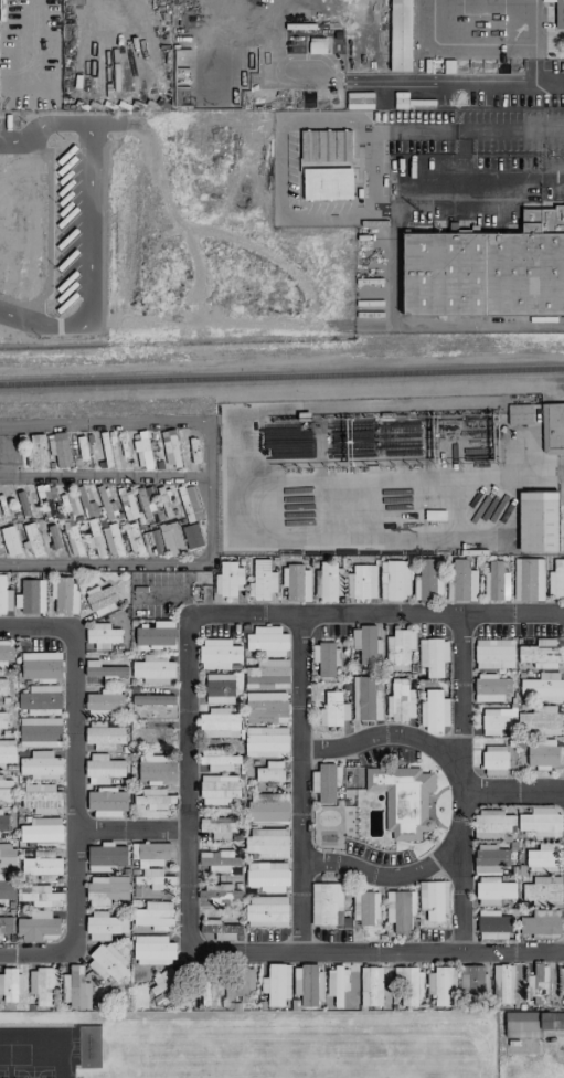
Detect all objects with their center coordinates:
building: (75, 1)
building: (558, 14)
building: (400, 35)
road: (536, 40)
road: (470, 82)
building: (358, 99)
road: (283, 121)
road: (510, 130)
building: (326, 146)
road: (466, 154)
road: (369, 171)
road: (552, 175)
road: (502, 176)
building: (327, 183)
road: (446, 210)
road: (381, 211)
road: (91, 224)
building: (487, 269)
road: (424, 321)
railway: (281, 377)
railway: (281, 387)
building: (520, 413)
building: (552, 429)
building: (78, 448)
building: (36, 452)
road: (526, 471)
road: (105, 476)
road: (210, 494)
building: (147, 499)
building: (23, 503)
building: (127, 503)
building: (3, 504)
building: (109, 504)
building: (538, 521)
building: (53, 536)
building: (94, 536)
building: (173, 536)
building: (192, 536)
building: (31, 539)
building: (134, 539)
building: (10, 540)
building: (73, 540)
building: (111, 540)
building: (227, 579)
building: (262, 579)
building: (528, 579)
building: (556, 579)
building: (394, 580)
building: (331, 581)
building: (361, 581)
building: (427, 581)
building: (496, 581)
building: (296, 582)
building: (462, 585)
building: (32, 595)
building: (64, 595)
building: (4, 596)
building: (100, 600)
road: (270, 613)
building: (156, 634)
building: (102, 635)
building: (267, 640)
building: (365, 643)
building: (400, 645)
building: (4, 653)
building: (493, 653)
building: (540, 653)
building: (217, 654)
building: (433, 655)
building: (327, 658)
building: (41, 666)
building: (153, 668)
building: (104, 670)
building: (267, 674)
building: (2, 686)
building: (542, 686)
building: (491, 687)
building: (219, 688)
building: (366, 698)
building: (41, 699)
building: (152, 699)
building: (400, 700)
building: (104, 704)
building: (266, 707)
building: (333, 708)
building: (435, 710)
building: (2, 719)
building: (521, 720)
building: (219, 723)
building: (40, 731)
building: (152, 731)
road: (385, 732)
building: (104, 734)
building: (266, 741)
building: (7, 752)
building: (541, 754)
building: (494, 760)
building: (220, 761)
building: (41, 765)
building: (103, 768)
building: (156, 768)
building: (270, 773)
road: (302, 783)
building: (326, 783)
road: (465, 784)
building: (219, 789)
building: (6, 790)
road: (76, 791)
road: (514, 792)
building: (41, 797)
building: (152, 797)
building: (403, 799)
building: (107, 802)
building: (267, 808)
building: (3, 820)
building: (541, 822)
building: (492, 824)
building: (219, 826)
road: (134, 828)
building: (41, 832)
building: (266, 842)
building: (151, 852)
building: (543, 857)
building: (105, 858)
building: (490, 860)
building: (41, 866)
building: (220, 868)
building: (2, 871)
road: (392, 874)
building: (266, 875)
building: (157, 879)
building: (106, 889)
building: (493, 890)
building: (543, 890)
building: (41, 896)
building: (433, 899)
building: (326, 902)
building: (364, 907)
building: (400, 909)
building: (266, 911)
building: (155, 916)
building: (541, 923)
building: (6, 924)
building: (102, 924)
building: (492, 924)
building: (39, 927)
building: (222, 930)
building: (152, 950)
road: (316, 952)
building: (107, 963)
building: (472, 980)
building: (168, 981)
building: (538, 981)
building: (562, 981)
building: (241, 983)
building: (337, 983)
building: (502, 983)
building: (42, 984)
building: (277, 984)
building: (308, 984)
building: (10, 985)
building: (74, 985)
building: (371, 985)
building: (441, 985)
building: (408, 986)
building: (207, 987)
building: (531, 1023)

